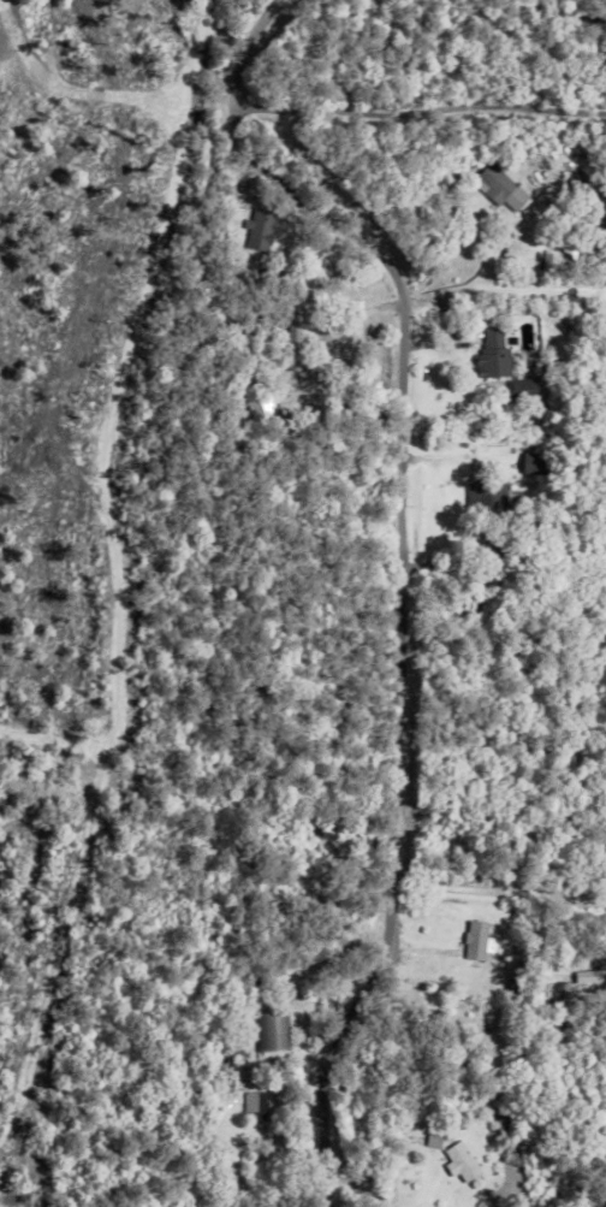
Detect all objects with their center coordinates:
road: (420, 110)
building: (494, 182)
building: (575, 185)
building: (256, 229)
road: (503, 285)
building: (491, 355)
building: (519, 389)
building: (254, 408)
building: (530, 463)
building: (483, 496)
building: (511, 520)
road: (398, 564)
road: (497, 889)
building: (475, 935)
building: (513, 975)
building: (557, 989)
building: (268, 1029)
building: (232, 1041)
building: (231, 1060)
building: (236, 1065)
building: (256, 1077)
building: (224, 1079)
building: (227, 1106)
building: (503, 1110)
building: (250, 1113)
building: (497, 1120)
building: (513, 1147)
building: (457, 1156)

